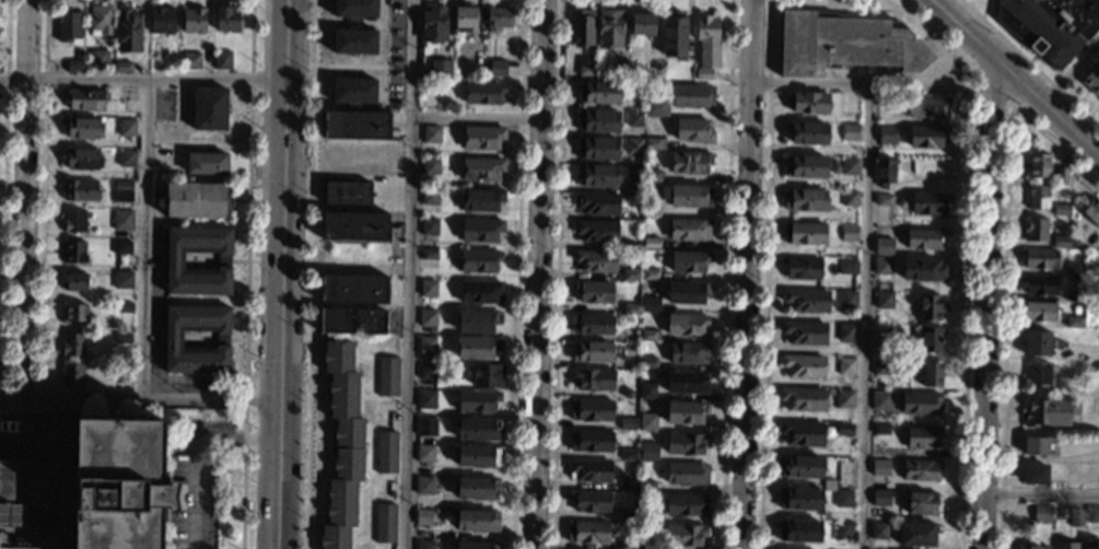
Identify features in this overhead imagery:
building: (354, 8)
building: (464, 17)
building: (98, 19)
building: (226, 19)
building: (498, 19)
building: (161, 20)
building: (194, 20)
building: (68, 24)
building: (433, 24)
building: (642, 24)
building: (1050, 25)
building: (583, 27)
building: (610, 28)
building: (128, 30)
building: (674, 37)
building: (706, 39)
building: (353, 42)
building: (845, 43)
building: (96, 59)
building: (221, 59)
building: (190, 60)
building: (475, 63)
building: (72, 65)
building: (585, 66)
building: (121, 67)
building: (621, 67)
building: (496, 68)
building: (652, 68)
building: (444, 69)
road: (1071, 71)
building: (702, 73)
road: (1015, 77)
road: (142, 79)
building: (1091, 80)
road: (839, 84)
building: (353, 91)
building: (599, 92)
building: (483, 93)
building: (127, 94)
building: (692, 95)
building: (83, 97)
building: (887, 101)
building: (808, 102)
building: (852, 105)
building: (656, 107)
building: (927, 107)
building: (208, 108)
road: (477, 116)
building: (634, 118)
building: (597, 120)
building: (355, 125)
building: (81, 127)
building: (126, 127)
building: (693, 130)
building: (807, 132)
building: (850, 132)
building: (431, 135)
building: (887, 135)
building: (927, 137)
building: (482, 138)
building: (653, 143)
building: (633, 145)
building: (597, 149)
building: (80, 157)
building: (125, 157)
building: (690, 162)
building: (204, 163)
building: (430, 165)
building: (1038, 165)
building: (805, 166)
building: (849, 166)
building: (833, 167)
building: (482, 168)
building: (884, 172)
building: (633, 173)
building: (596, 176)
building: (652, 176)
building: (1062, 176)
building: (80, 189)
building: (122, 191)
building: (347, 192)
building: (430, 196)
building: (690, 196)
building: (1037, 197)
building: (481, 199)
building: (850, 199)
road: (3, 200)
road: (23, 200)
road: (42, 200)
building: (195, 200)
building: (805, 200)
building: (885, 200)
building: (597, 203)
building: (901, 203)
building: (927, 203)
building: (651, 207)
building: (1061, 210)
building: (1091, 211)
building: (120, 220)
building: (72, 221)
building: (354, 226)
building: (429, 227)
building: (689, 229)
building: (1036, 229)
building: (480, 231)
building: (596, 231)
building: (804, 233)
building: (849, 233)
road: (145, 240)
building: (923, 240)
building: (1061, 242)
building: (651, 243)
building: (631, 244)
building: (1076, 245)
building: (884, 246)
building: (120, 247)
building: (73, 252)
building: (428, 254)
building: (1040, 259)
building: (173, 260)
building: (477, 260)
building: (595, 260)
building: (689, 261)
building: (882, 266)
building: (803, 267)
building: (846, 267)
building: (1074, 269)
building: (922, 270)
building: (1091, 271)
road: (246, 273)
road: (281, 273)
road: (410, 273)
road: (747, 273)
road: (539, 274)
building: (630, 274)
building: (650, 274)
building: (120, 279)
building: (73, 281)
building: (1039, 284)
building: (428, 288)
building: (353, 289)
building: (480, 292)
building: (594, 292)
building: (687, 292)
building: (1075, 295)
building: (806, 300)
building: (847, 300)
building: (884, 300)
building: (648, 304)
road: (992, 306)
building: (122, 307)
building: (928, 307)
building: (631, 309)
building: (1039, 311)
building: (72, 313)
road: (865, 317)
building: (428, 318)
building: (352, 320)
building: (477, 322)
building: (1074, 322)
building: (686, 324)
building: (592, 325)
building: (805, 332)
building: (846, 332)
building: (647, 336)
building: (121, 338)
building: (173, 339)
building: (930, 339)
building: (70, 343)
building: (1037, 343)
building: (426, 344)
building: (477, 348)
building: (592, 351)
building: (688, 353)
building: (648, 363)
building: (803, 365)
building: (845, 366)
building: (880, 367)
building: (1098, 369)
building: (121, 370)
building: (426, 372)
building: (924, 372)
building: (70, 374)
building: (1040, 374)
building: (488, 375)
building: (387, 377)
building: (593, 378)
building: (686, 382)
building: (647, 390)
building: (630, 394)
building: (426, 399)
building: (804, 399)
building: (844, 399)
building: (881, 399)
road: (139, 401)
building: (477, 401)
building: (921, 404)
building: (591, 410)
building: (685, 412)
building: (1049, 412)
building: (647, 422)
building: (628, 423)
building: (425, 425)
building: (843, 429)
building: (478, 430)
building: (880, 430)
building: (802, 433)
building: (923, 437)
building: (589, 441)
building: (686, 443)
building: (341, 445)
building: (1034, 446)
building: (875, 451)
building: (647, 452)
building: (385, 453)
building: (424, 453)
building: (629, 455)
building: (478, 456)
building: (800, 467)
building: (879, 467)
building: (589, 470)
building: (920, 470)
building: (687, 474)
building: (1034, 474)
building: (629, 484)
building: (423, 486)
building: (646, 487)
building: (476, 488)
building: (89, 490)
road: (194, 491)
road: (1042, 494)
building: (880, 498)
building: (799, 499)
building: (843, 499)
building: (589, 501)
building: (921, 503)
building: (686, 504)
building: (1041, 513)
building: (628, 515)
building: (1092, 515)
building: (646, 516)
building: (423, 517)
building: (1076, 517)
building: (477, 521)
building: (385, 524)
building: (842, 530)
building: (879, 530)
building: (798, 532)
building: (588, 533)
building: (683, 535)
building: (916, 535)
building: (1091, 544)
building: (424, 545)
building: (475, 545)
building: (628, 545)
building: (645, 545)
building: (1031, 545)
building: (1066, 545)

